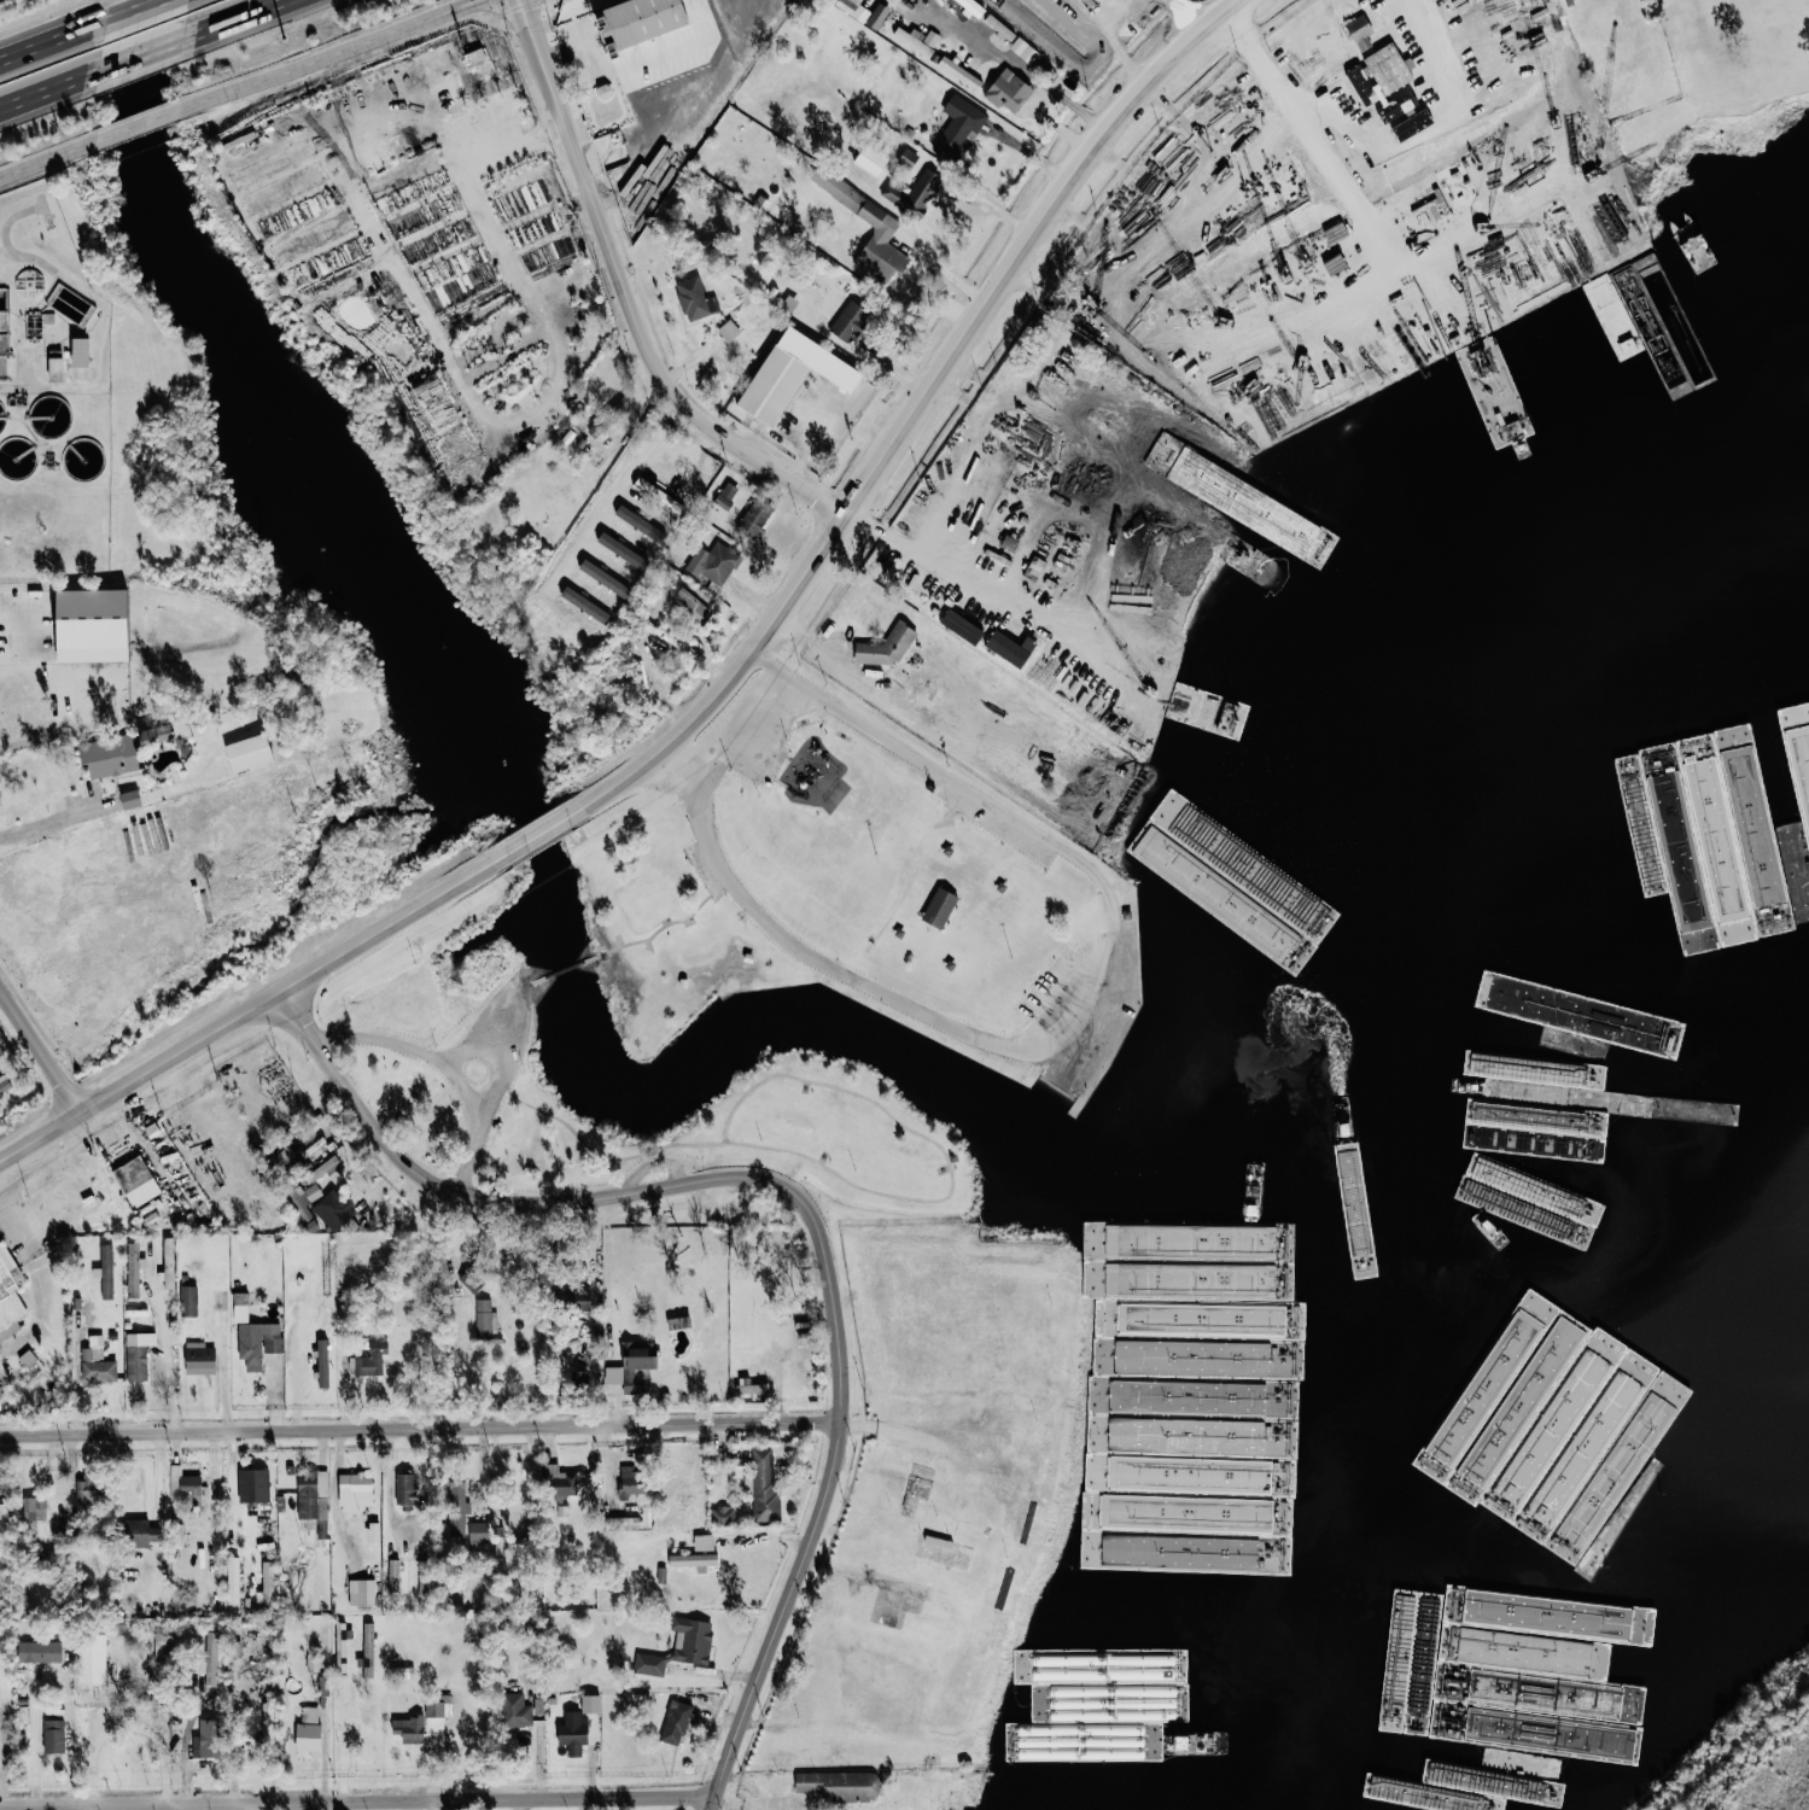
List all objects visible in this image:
building: (971, 7)
road: (132, 10)
building: (864, 11)
road: (233, 18)
building: (1360, 30)
road: (52, 40)
building: (917, 40)
building: (652, 41)
building: (1023, 49)
road: (332, 52)
road: (140, 53)
building: (475, 56)
building: (438, 69)
road: (1025, 70)
building: (959, 72)
building: (1379, 75)
road: (48, 87)
building: (1009, 89)
building: (1396, 105)
building: (1402, 117)
road: (142, 122)
road: (1054, 123)
building: (1412, 124)
building: (959, 128)
road: (1373, 138)
building: (909, 157)
road: (47, 158)
building: (870, 159)
road: (1338, 167)
building: (1458, 187)
building: (915, 192)
building: (886, 221)
road: (946, 273)
road: (634, 297)
building: (693, 298)
building: (850, 321)
building: (728, 329)
building: (81, 351)
building: (809, 356)
building: (57, 368)
building: (774, 385)
road: (921, 408)
building: (650, 472)
road: (625, 487)
building: (726, 495)
building: (755, 516)
building: (613, 539)
building: (713, 562)
road: (967, 580)
building: (694, 606)
building: (93, 618)
building: (962, 626)
road: (27, 644)
building: (887, 646)
building: (1009, 647)
road: (731, 724)
building: (156, 734)
building: (249, 752)
building: (111, 755)
building: (130, 799)
road: (48, 818)
road: (547, 830)
building: (939, 907)
road: (652, 936)
park: (812, 936)
road: (564, 967)
road: (533, 979)
road: (253, 1008)
road: (1079, 1016)
road: (39, 1055)
road: (445, 1059)
building: (4, 1084)
building: (323, 1168)
building: (135, 1181)
building: (303, 1199)
road: (813, 1202)
building: (333, 1210)
building: (1185, 1243)
building: (133, 1269)
building: (105, 1271)
building: (469, 1280)
building: (8, 1292)
building: (576, 1298)
building: (188, 1301)
building: (240, 1307)
building: (484, 1323)
building: (258, 1343)
road: (165, 1351)
building: (138, 1355)
building: (640, 1355)
building: (199, 1359)
building: (370, 1361)
building: (97, 1362)
building: (322, 1362)
building: (800, 1365)
building: (613, 1374)
building: (579, 1379)
building: (751, 1390)
road: (426, 1424)
building: (561, 1481)
building: (630, 1481)
building: (763, 1484)
building: (252, 1485)
building: (407, 1489)
building: (89, 1490)
building: (185, 1490)
building: (355, 1491)
road: (230, 1493)
building: (311, 1495)
building: (457, 1507)
building: (35, 1510)
building: (723, 1516)
building: (1592, 1520)
building: (264, 1530)
building: (373, 1531)
building: (144, 1535)
building: (478, 1536)
building: (704, 1542)
building: (694, 1559)
building: (392, 1576)
building: (424, 1576)
building: (361, 1593)
building: (679, 1646)
building: (41, 1651)
building: (367, 1651)
building: (92, 1658)
building: (210, 1659)
building: (591, 1703)
building: (515, 1710)
building: (437, 1711)
building: (678, 1721)
building: (267, 1722)
building: (309, 1728)
building: (409, 1728)
building: (1481, 1728)
building: (573, 1730)
building: (53, 1735)
building: (206, 1739)
building: (1064, 1740)
landfill: (1731, 1747)
building: (840, 1785)
road: (362, 1798)

